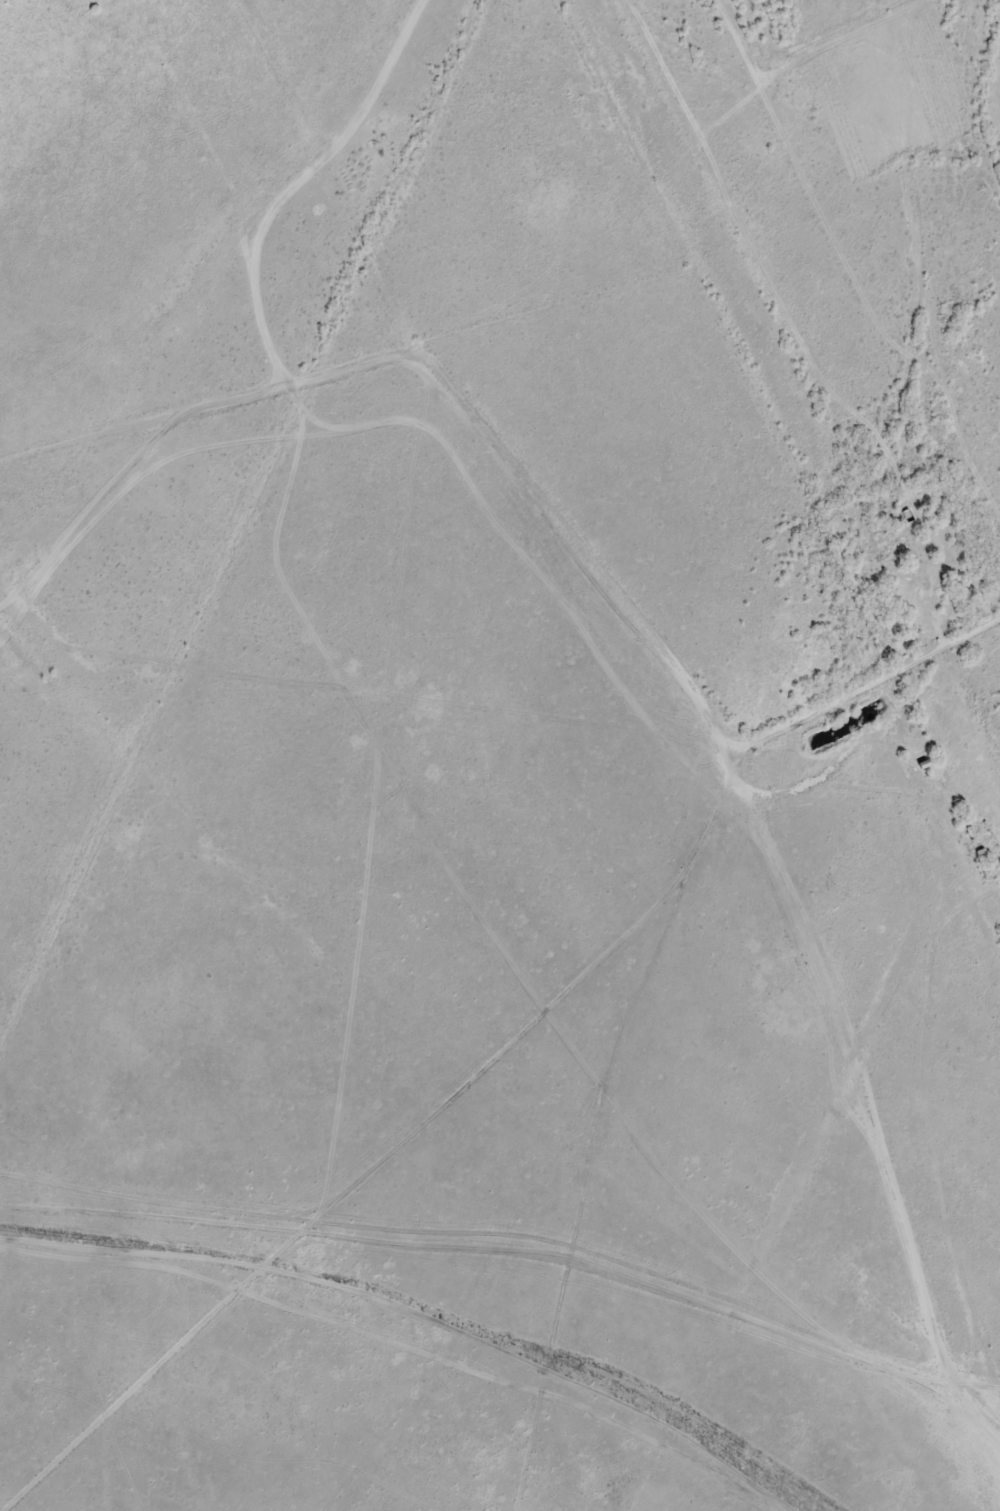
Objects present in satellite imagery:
road: (279, 351)

